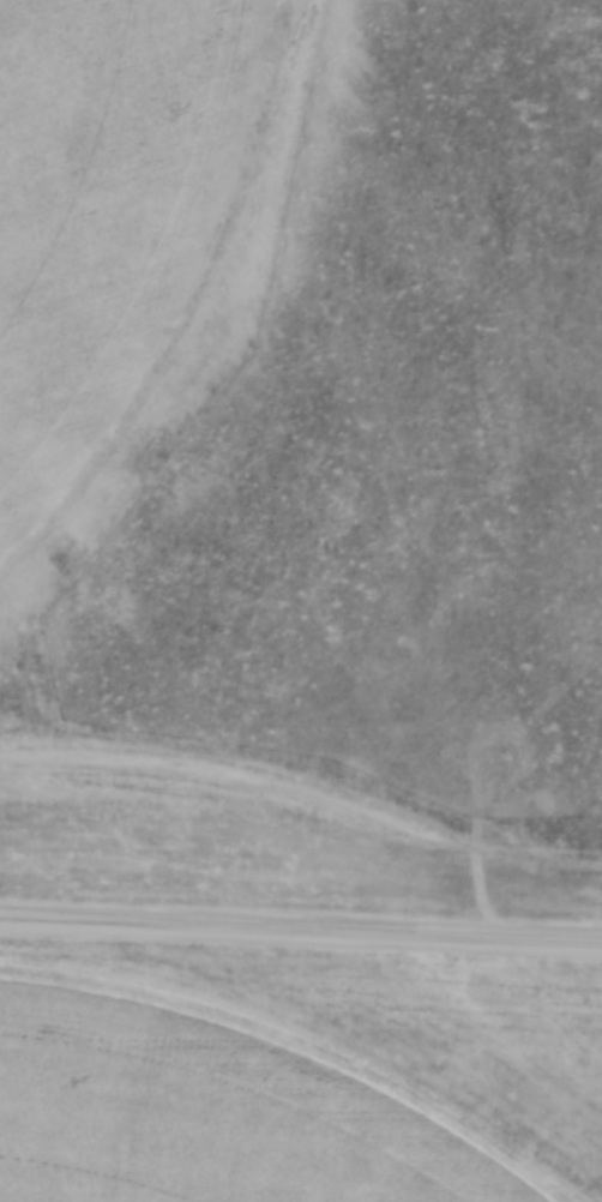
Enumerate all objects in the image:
crop: (109, 220)
crop: (276, 1023)

